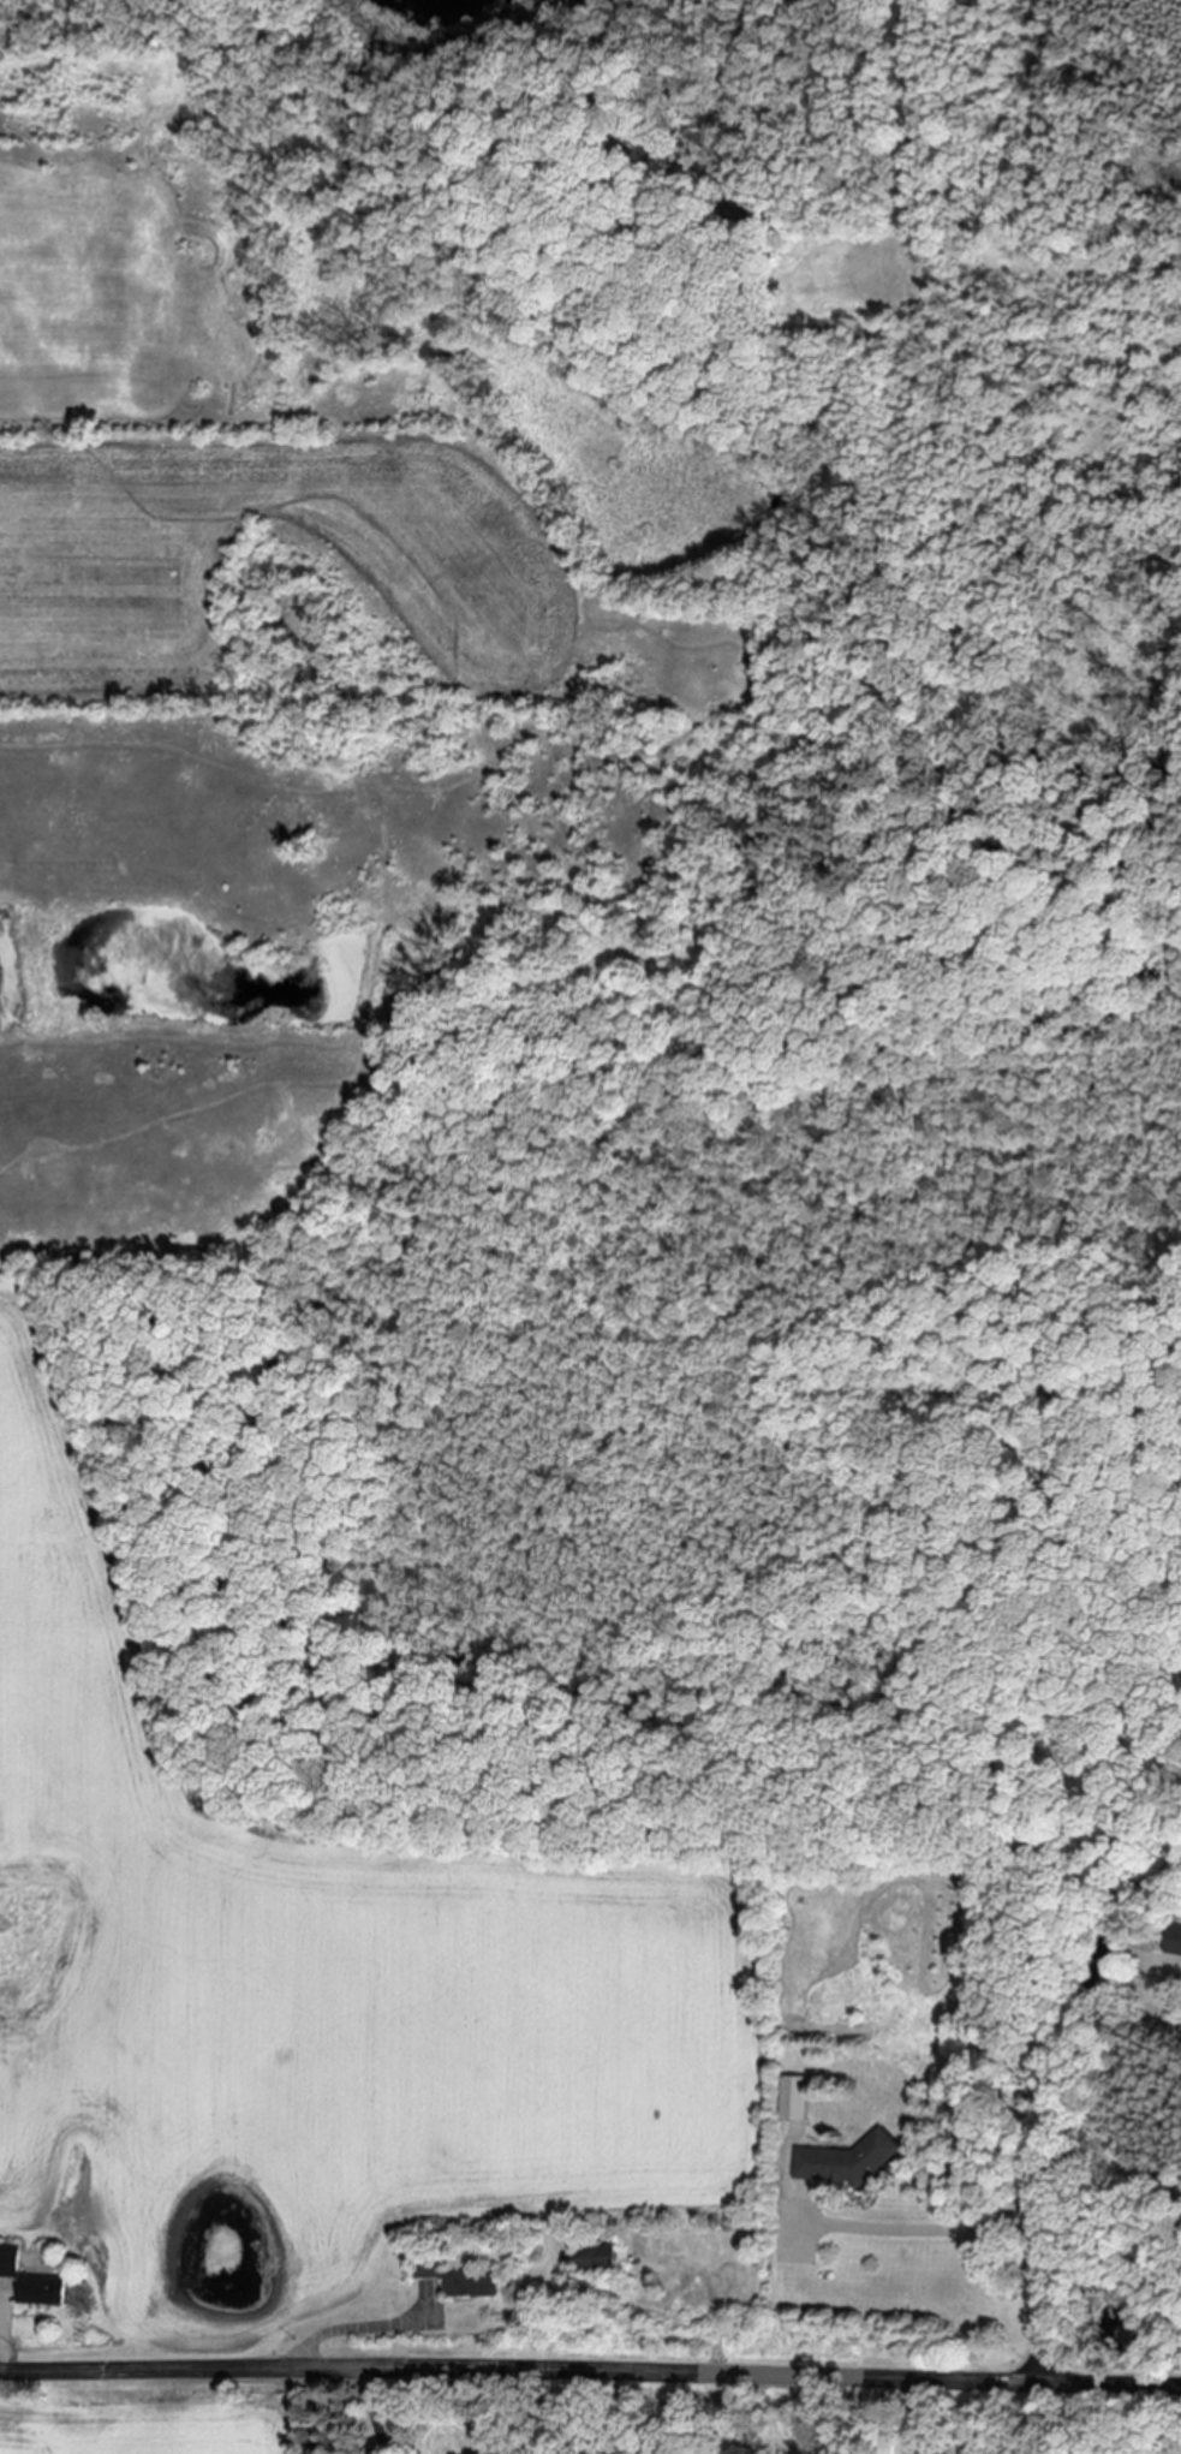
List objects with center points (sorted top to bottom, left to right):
building: (1174, 1941)
building: (791, 2099)
road: (1057, 2105)
building: (843, 2162)
road: (921, 2229)
building: (597, 2259)
building: (8, 2263)
building: (471, 2283)
building: (38, 2292)
road: (352, 2330)
road: (5, 2335)
road: (590, 2367)
road: (371, 2411)
road: (911, 2417)

